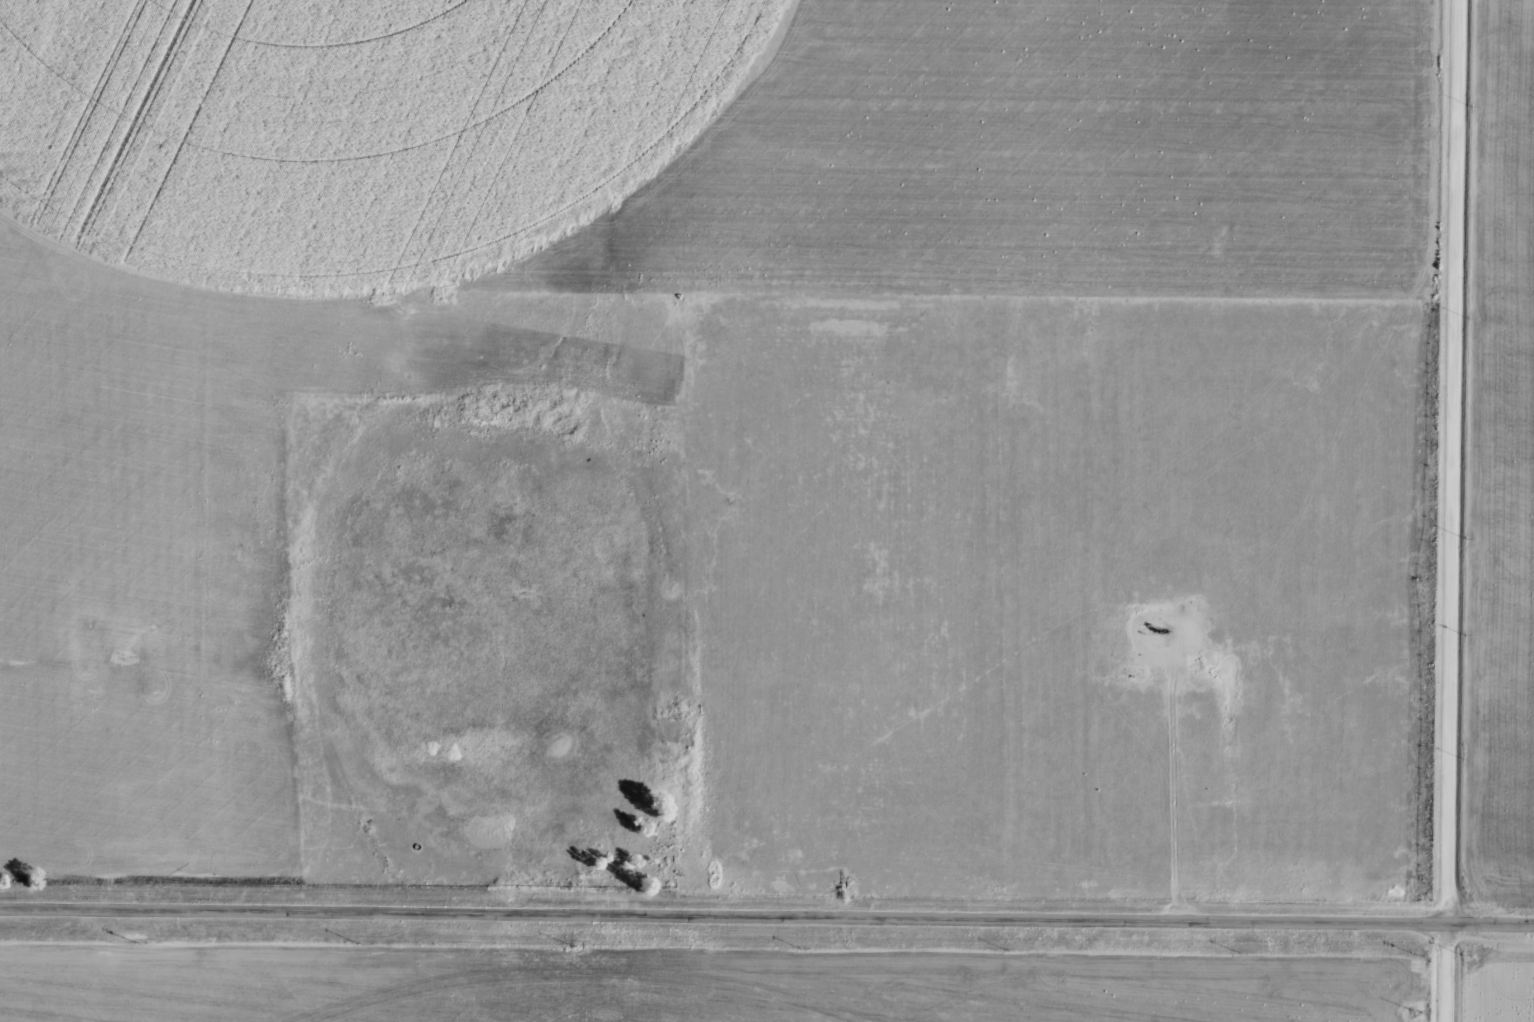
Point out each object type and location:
road: (1450, 511)
petroleum well: (1151, 633)
road: (766, 921)

